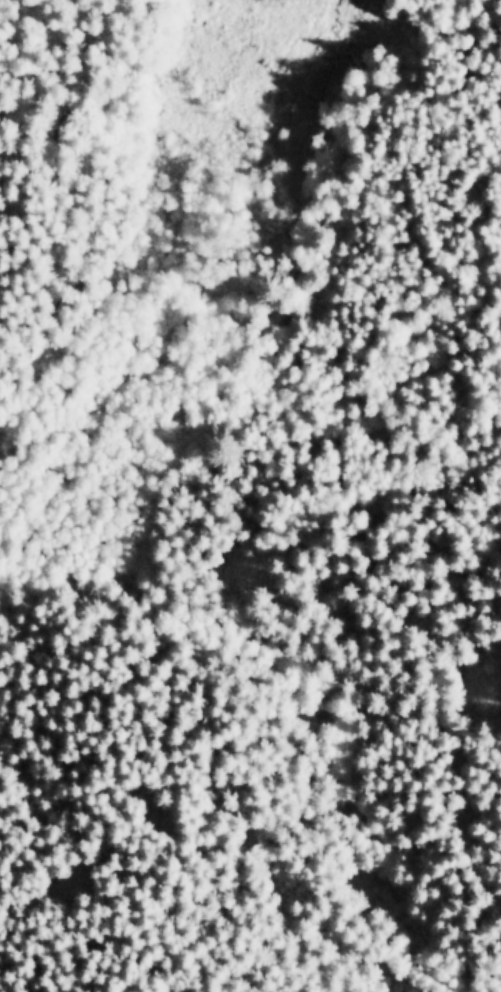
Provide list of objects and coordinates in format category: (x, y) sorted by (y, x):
road: (488, 29)
road: (54, 192)
road: (296, 244)
road: (88, 332)
park: (250, 496)

